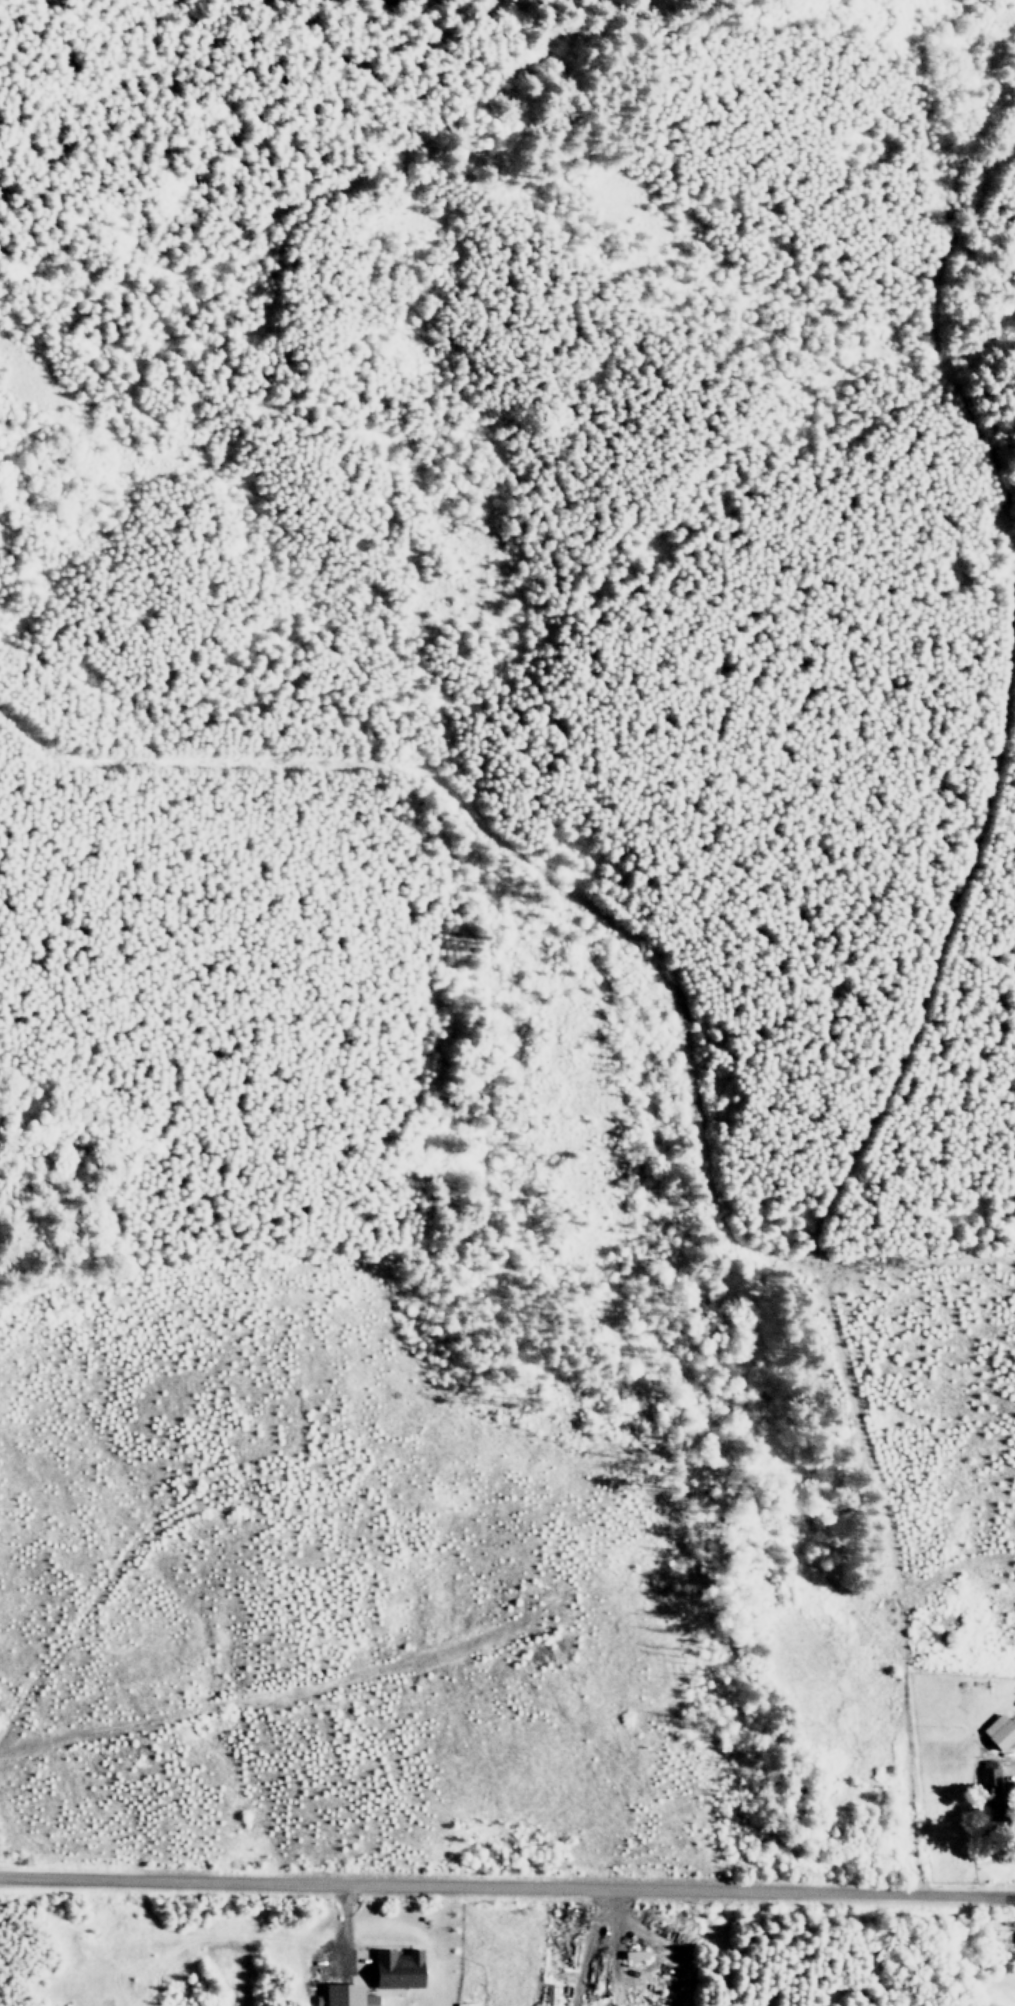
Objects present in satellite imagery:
building: (999, 1731)
building: (993, 1791)
road: (507, 1884)
building: (398, 1968)
building: (345, 1996)

